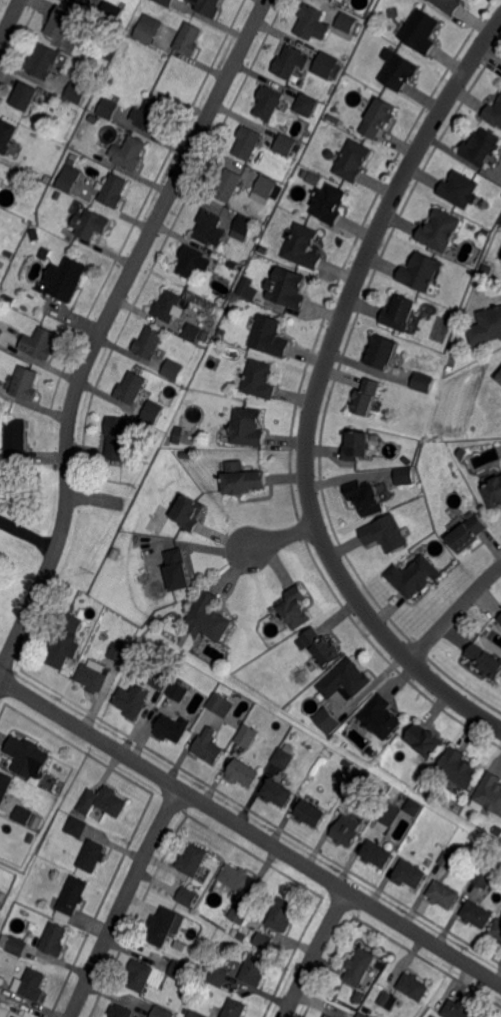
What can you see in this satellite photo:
building: (332, 0)
building: (81, 1)
building: (165, 1)
building: (448, 4)
building: (207, 7)
building: (110, 13)
road: (9, 18)
building: (308, 20)
building: (344, 21)
building: (59, 23)
building: (418, 28)
building: (148, 29)
building: (188, 38)
building: (112, 56)
building: (43, 61)
building: (288, 61)
building: (325, 65)
building: (397, 69)
building: (108, 80)
building: (76, 92)
building: (25, 96)
building: (55, 97)
building: (268, 103)
building: (305, 105)
building: (107, 109)
building: (494, 113)
building: (149, 115)
building: (378, 118)
building: (93, 119)
building: (333, 119)
building: (308, 134)
building: (7, 135)
building: (247, 143)
building: (284, 143)
building: (481, 147)
building: (132, 153)
building: (330, 154)
building: (73, 159)
building: (351, 160)
building: (24, 177)
building: (67, 181)
building: (227, 186)
building: (266, 187)
building: (457, 188)
building: (114, 190)
building: (57, 194)
building: (329, 202)
building: (485, 205)
building: (259, 214)
building: (91, 224)
building: (244, 224)
building: (208, 225)
building: (440, 231)
building: (35, 234)
building: (300, 246)
building: (9, 253)
building: (190, 261)
building: (233, 266)
building: (484, 269)
building: (418, 270)
building: (67, 279)
building: (245, 286)
building: (286, 287)
building: (168, 305)
building: (399, 314)
building: (486, 325)
road: (102, 327)
building: (1, 331)
building: (193, 331)
building: (269, 335)
building: (39, 342)
building: (149, 342)
building: (381, 352)
building: (500, 368)
building: (173, 369)
building: (257, 379)
building: (499, 379)
building: (24, 382)
building: (421, 382)
building: (131, 387)
road: (316, 390)
building: (366, 397)
building: (152, 411)
building: (248, 428)
building: (152, 432)
building: (178, 436)
building: (116, 437)
building: (15, 441)
building: (357, 446)
building: (462, 453)
building: (186, 456)
building: (406, 461)
building: (404, 476)
building: (242, 479)
building: (493, 493)
building: (366, 497)
building: (187, 511)
building: (467, 532)
building: (385, 534)
road: (27, 536)
road: (276, 542)
building: (177, 568)
building: (413, 576)
building: (294, 608)
road: (456, 615)
building: (208, 618)
building: (499, 619)
building: (64, 643)
building: (123, 643)
building: (301, 644)
building: (319, 648)
building: (118, 654)
building: (485, 661)
building: (92, 677)
building: (161, 679)
building: (345, 680)
building: (178, 690)
building: (133, 700)
building: (220, 704)
building: (378, 718)
building: (326, 721)
building: (173, 727)
building: (247, 737)
building: (424, 741)
building: (208, 745)
building: (372, 751)
building: (28, 758)
building: (283, 760)
building: (348, 765)
building: (457, 769)
building: (243, 773)
building: (5, 784)
building: (359, 785)
building: (489, 793)
building: (276, 794)
building: (103, 801)
building: (413, 807)
building: (388, 813)
building: (310, 814)
building: (23, 815)
building: (76, 826)
building: (348, 829)
road: (250, 831)
building: (93, 855)
building: (376, 855)
building: (193, 860)
building: (448, 860)
building: (409, 874)
building: (235, 879)
building: (486, 880)
building: (442, 895)
building: (188, 896)
building: (72, 898)
road: (124, 902)
building: (240, 914)
building: (476, 915)
building: (279, 917)
building: (162, 927)
building: (496, 930)
building: (53, 939)
building: (261, 942)
building: (3, 943)
building: (500, 943)
building: (17, 946)
road: (315, 953)
building: (208, 967)
building: (359, 969)
building: (182, 971)
building: (254, 971)
building: (140, 974)
building: (219, 975)
building: (31, 983)
building: (0, 984)
building: (413, 986)
building: (359, 997)
building: (386, 1002)
building: (235, 1008)
building: (457, 1010)
building: (121, 1011)
building: (162, 1012)
building: (196, 1014)
building: (327, 1016)
building: (360, 1016)

